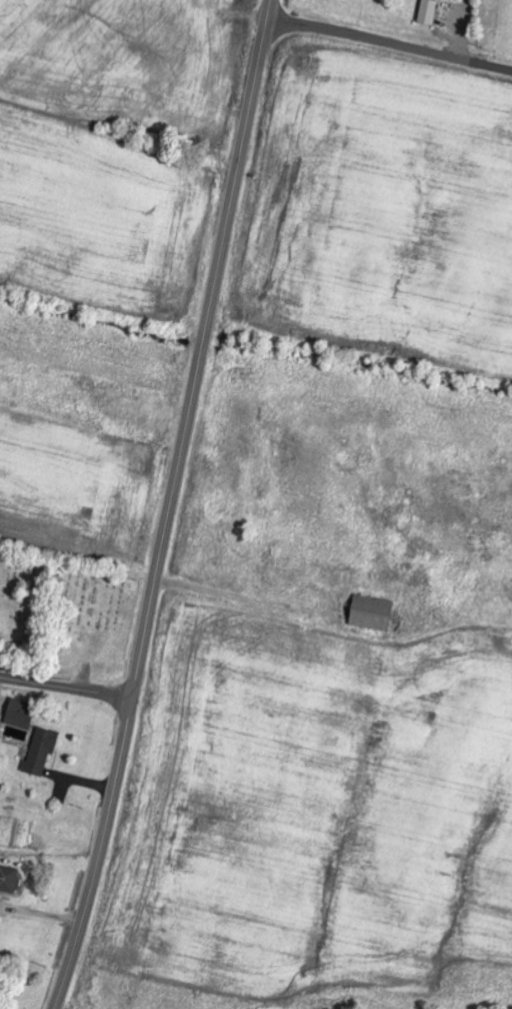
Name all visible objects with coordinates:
building: (428, 12)
road: (390, 43)
road: (171, 506)
building: (370, 613)
park: (67, 617)
road: (66, 689)
building: (19, 714)
building: (41, 751)
building: (0, 917)

